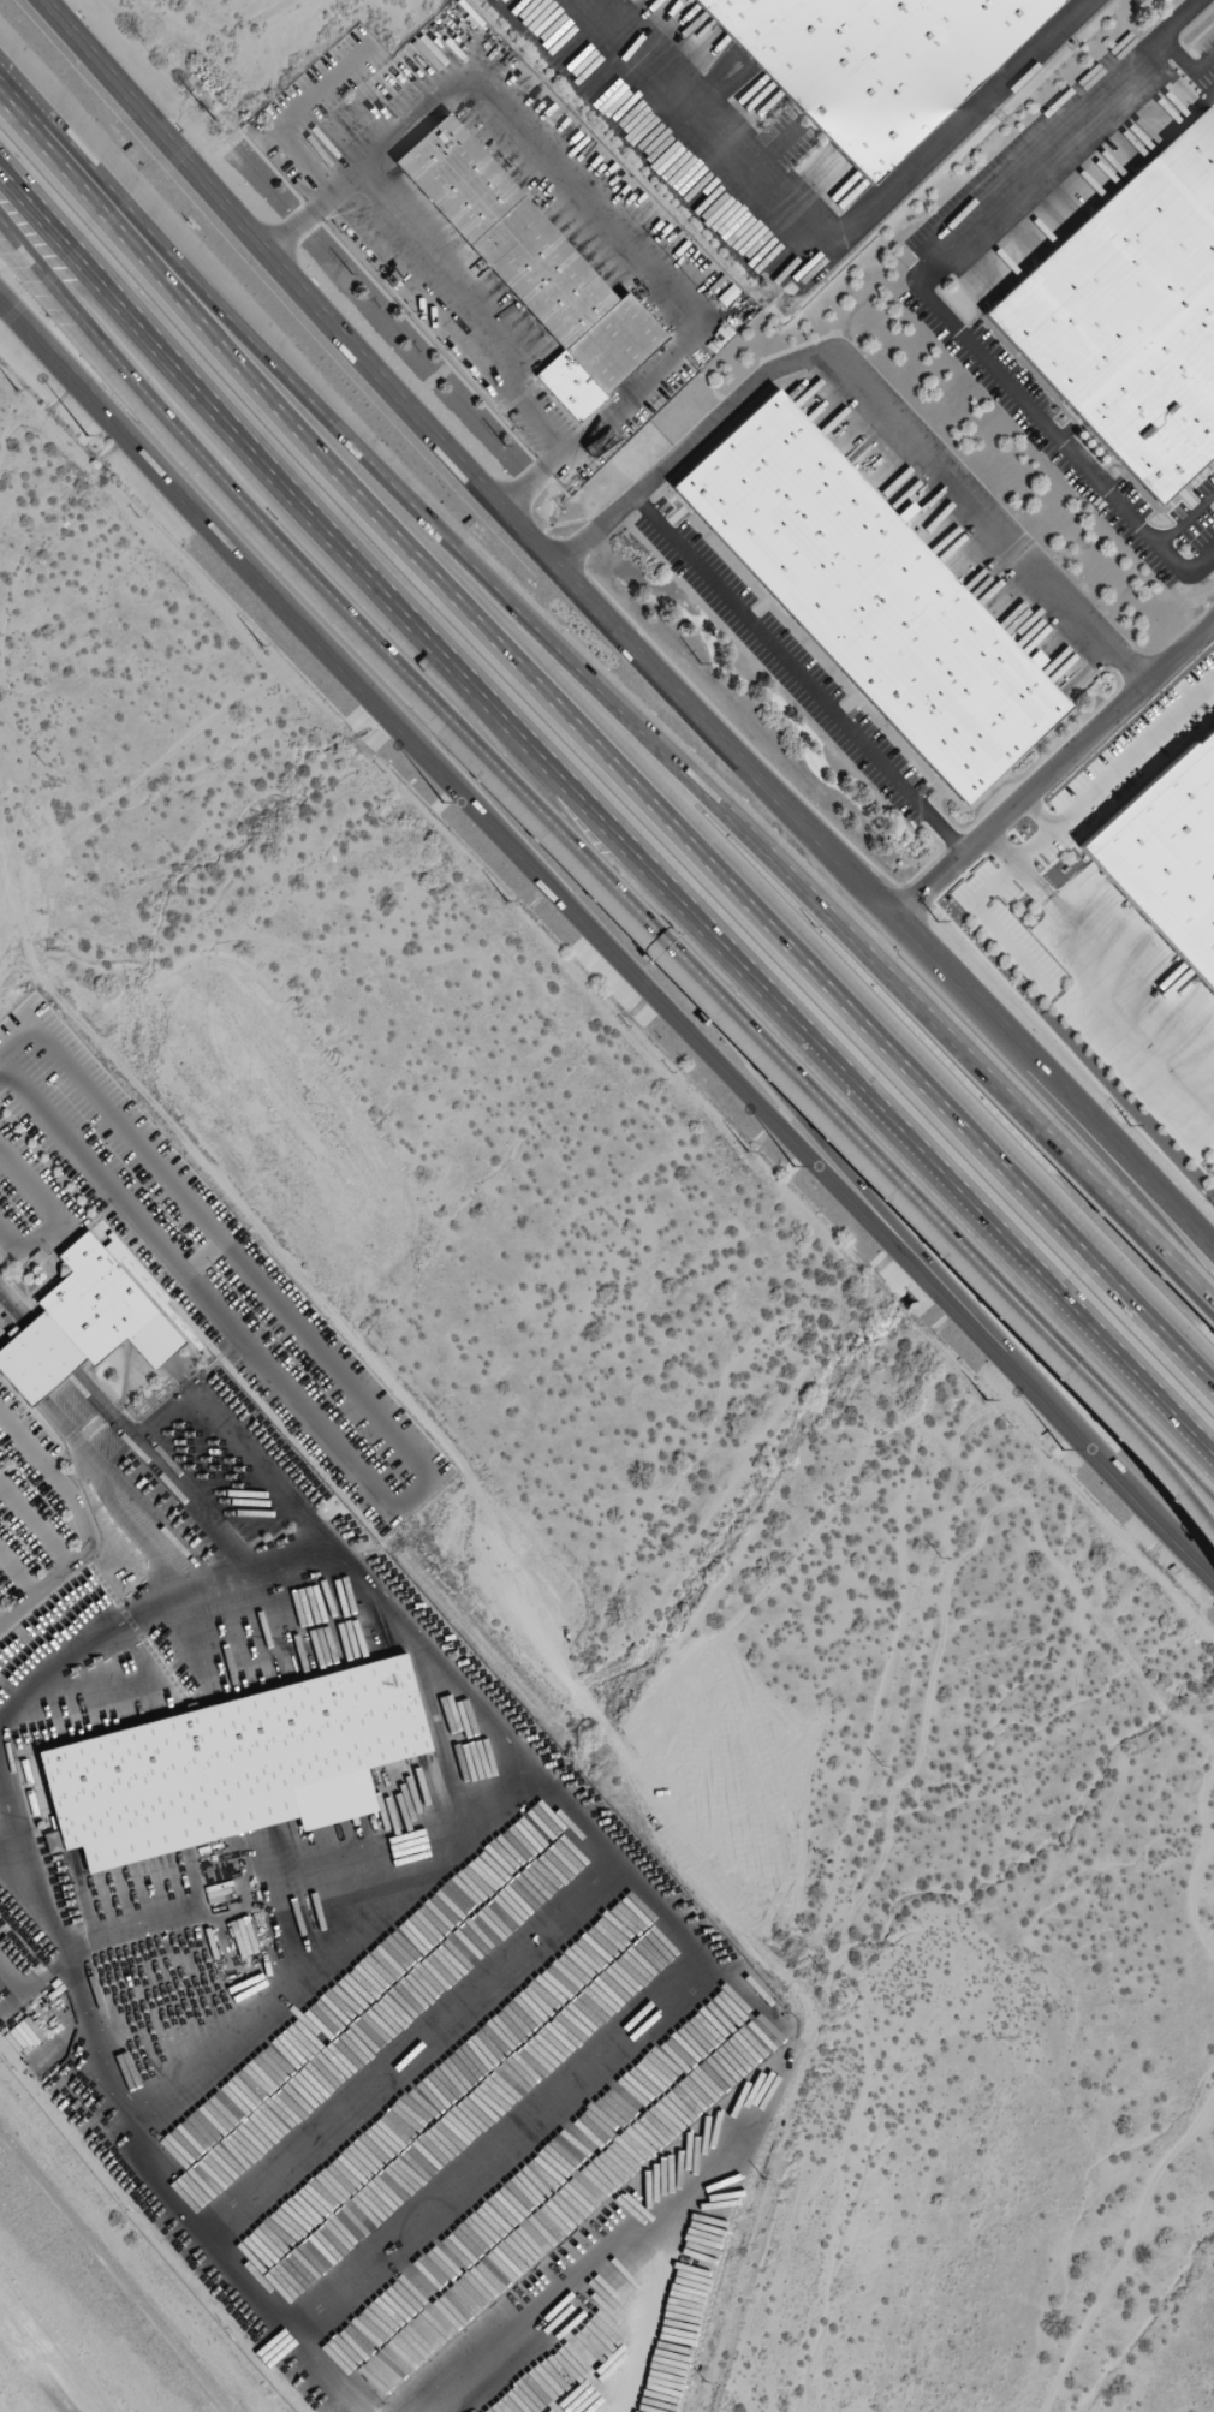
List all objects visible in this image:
road: (1185, 59)
building: (875, 61)
road: (838, 225)
road: (930, 261)
building: (532, 267)
building: (1132, 315)
road: (904, 425)
road: (214, 471)
road: (596, 525)
road: (1159, 540)
building: (870, 595)
road: (516, 617)
road: (629, 632)
road: (797, 672)
road: (596, 751)
road: (1053, 767)
road: (1117, 770)
road: (603, 809)
road: (1041, 810)
building: (1168, 853)
road: (602, 862)
road: (536, 885)
road: (1102, 953)
road: (745, 1025)
road: (11, 1041)
road: (1060, 1118)
road: (1129, 1228)
building: (89, 1318)
road: (1126, 1423)
road: (1127, 1441)
road: (1151, 1503)
building: (231, 1765)
road: (18, 1966)

